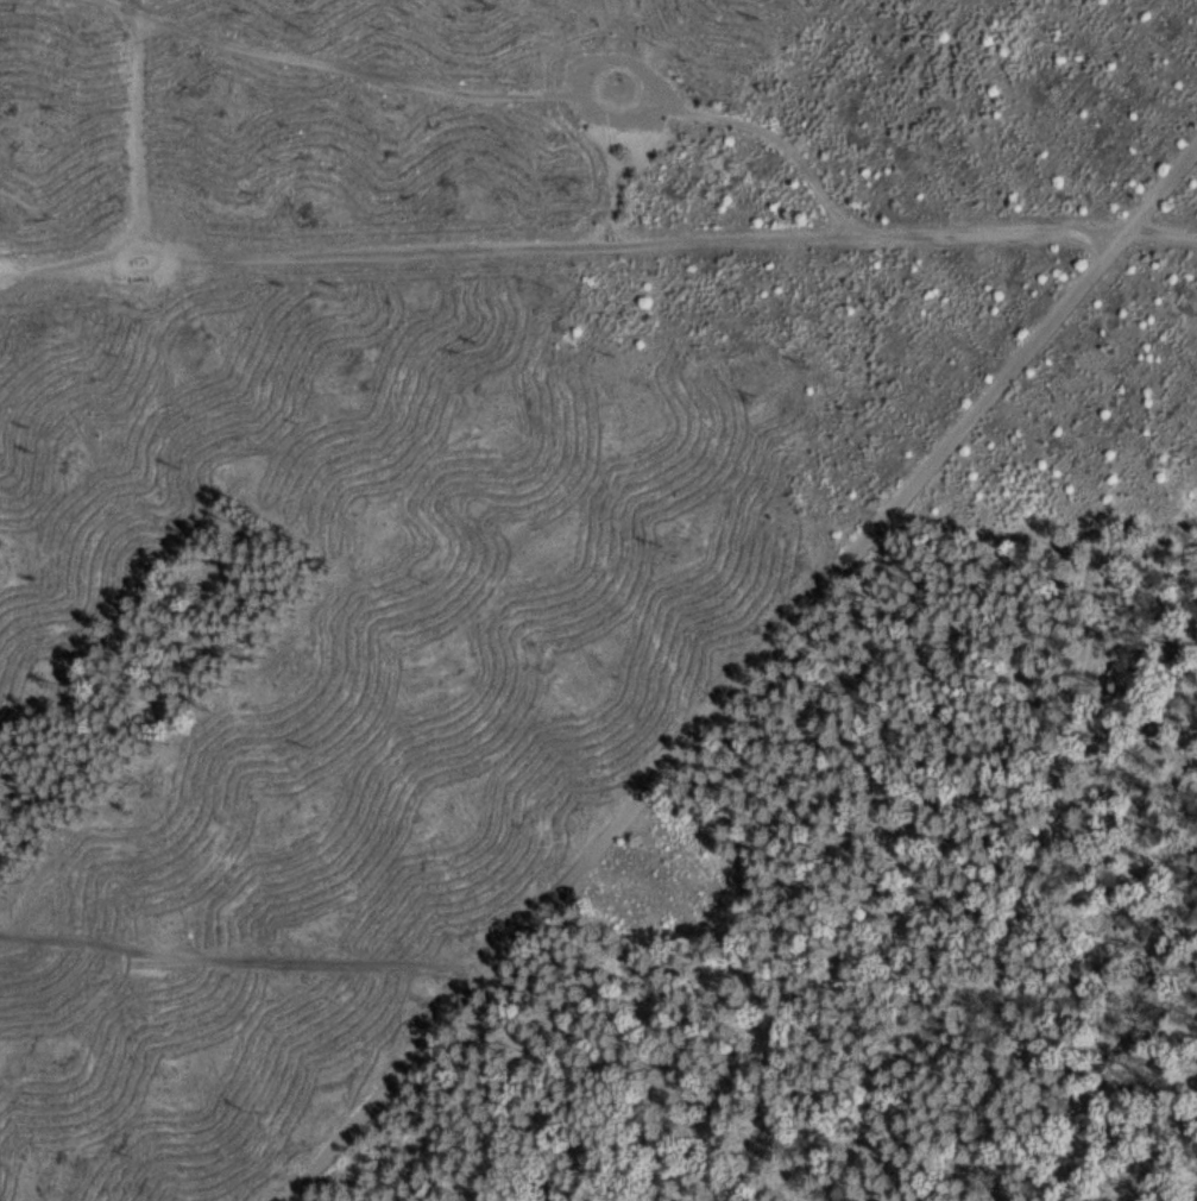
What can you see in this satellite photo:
road: (206, 32)
road: (118, 133)
road: (774, 159)
road: (417, 256)
road: (745, 679)

